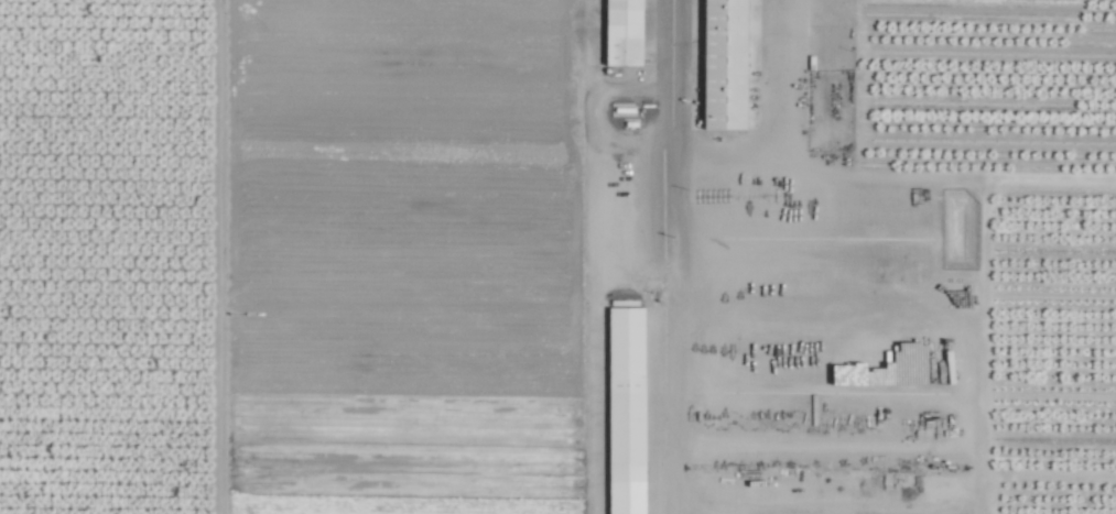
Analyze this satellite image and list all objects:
building: (621, 33)
building: (723, 64)
crop: (557, 256)
road: (671, 256)
building: (625, 411)

